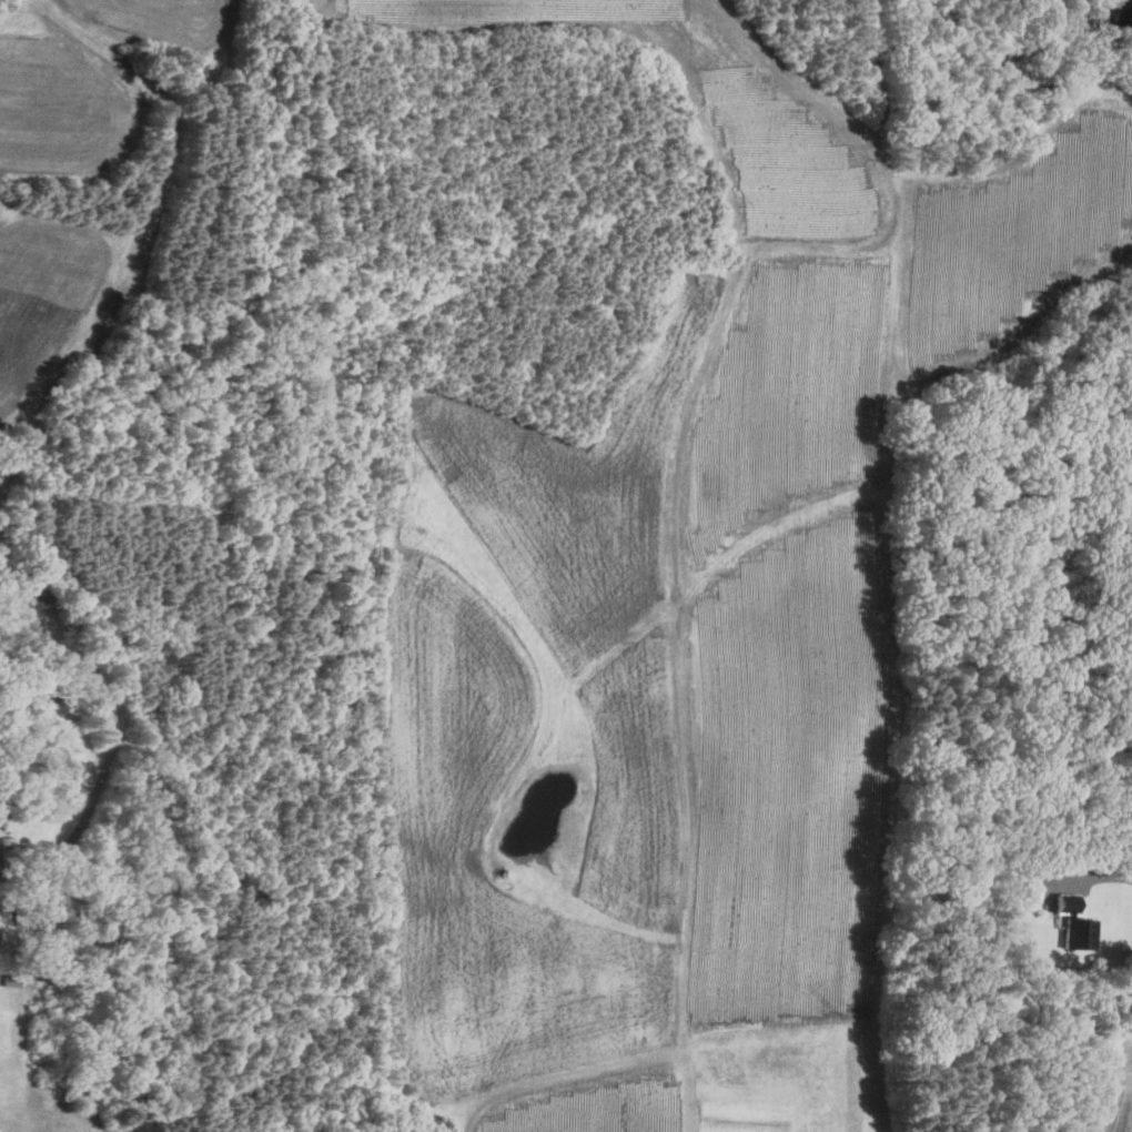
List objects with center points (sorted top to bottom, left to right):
road: (150, 233)
road: (668, 675)
road: (115, 738)
road: (1091, 877)
building: (1031, 890)
building: (7, 932)

